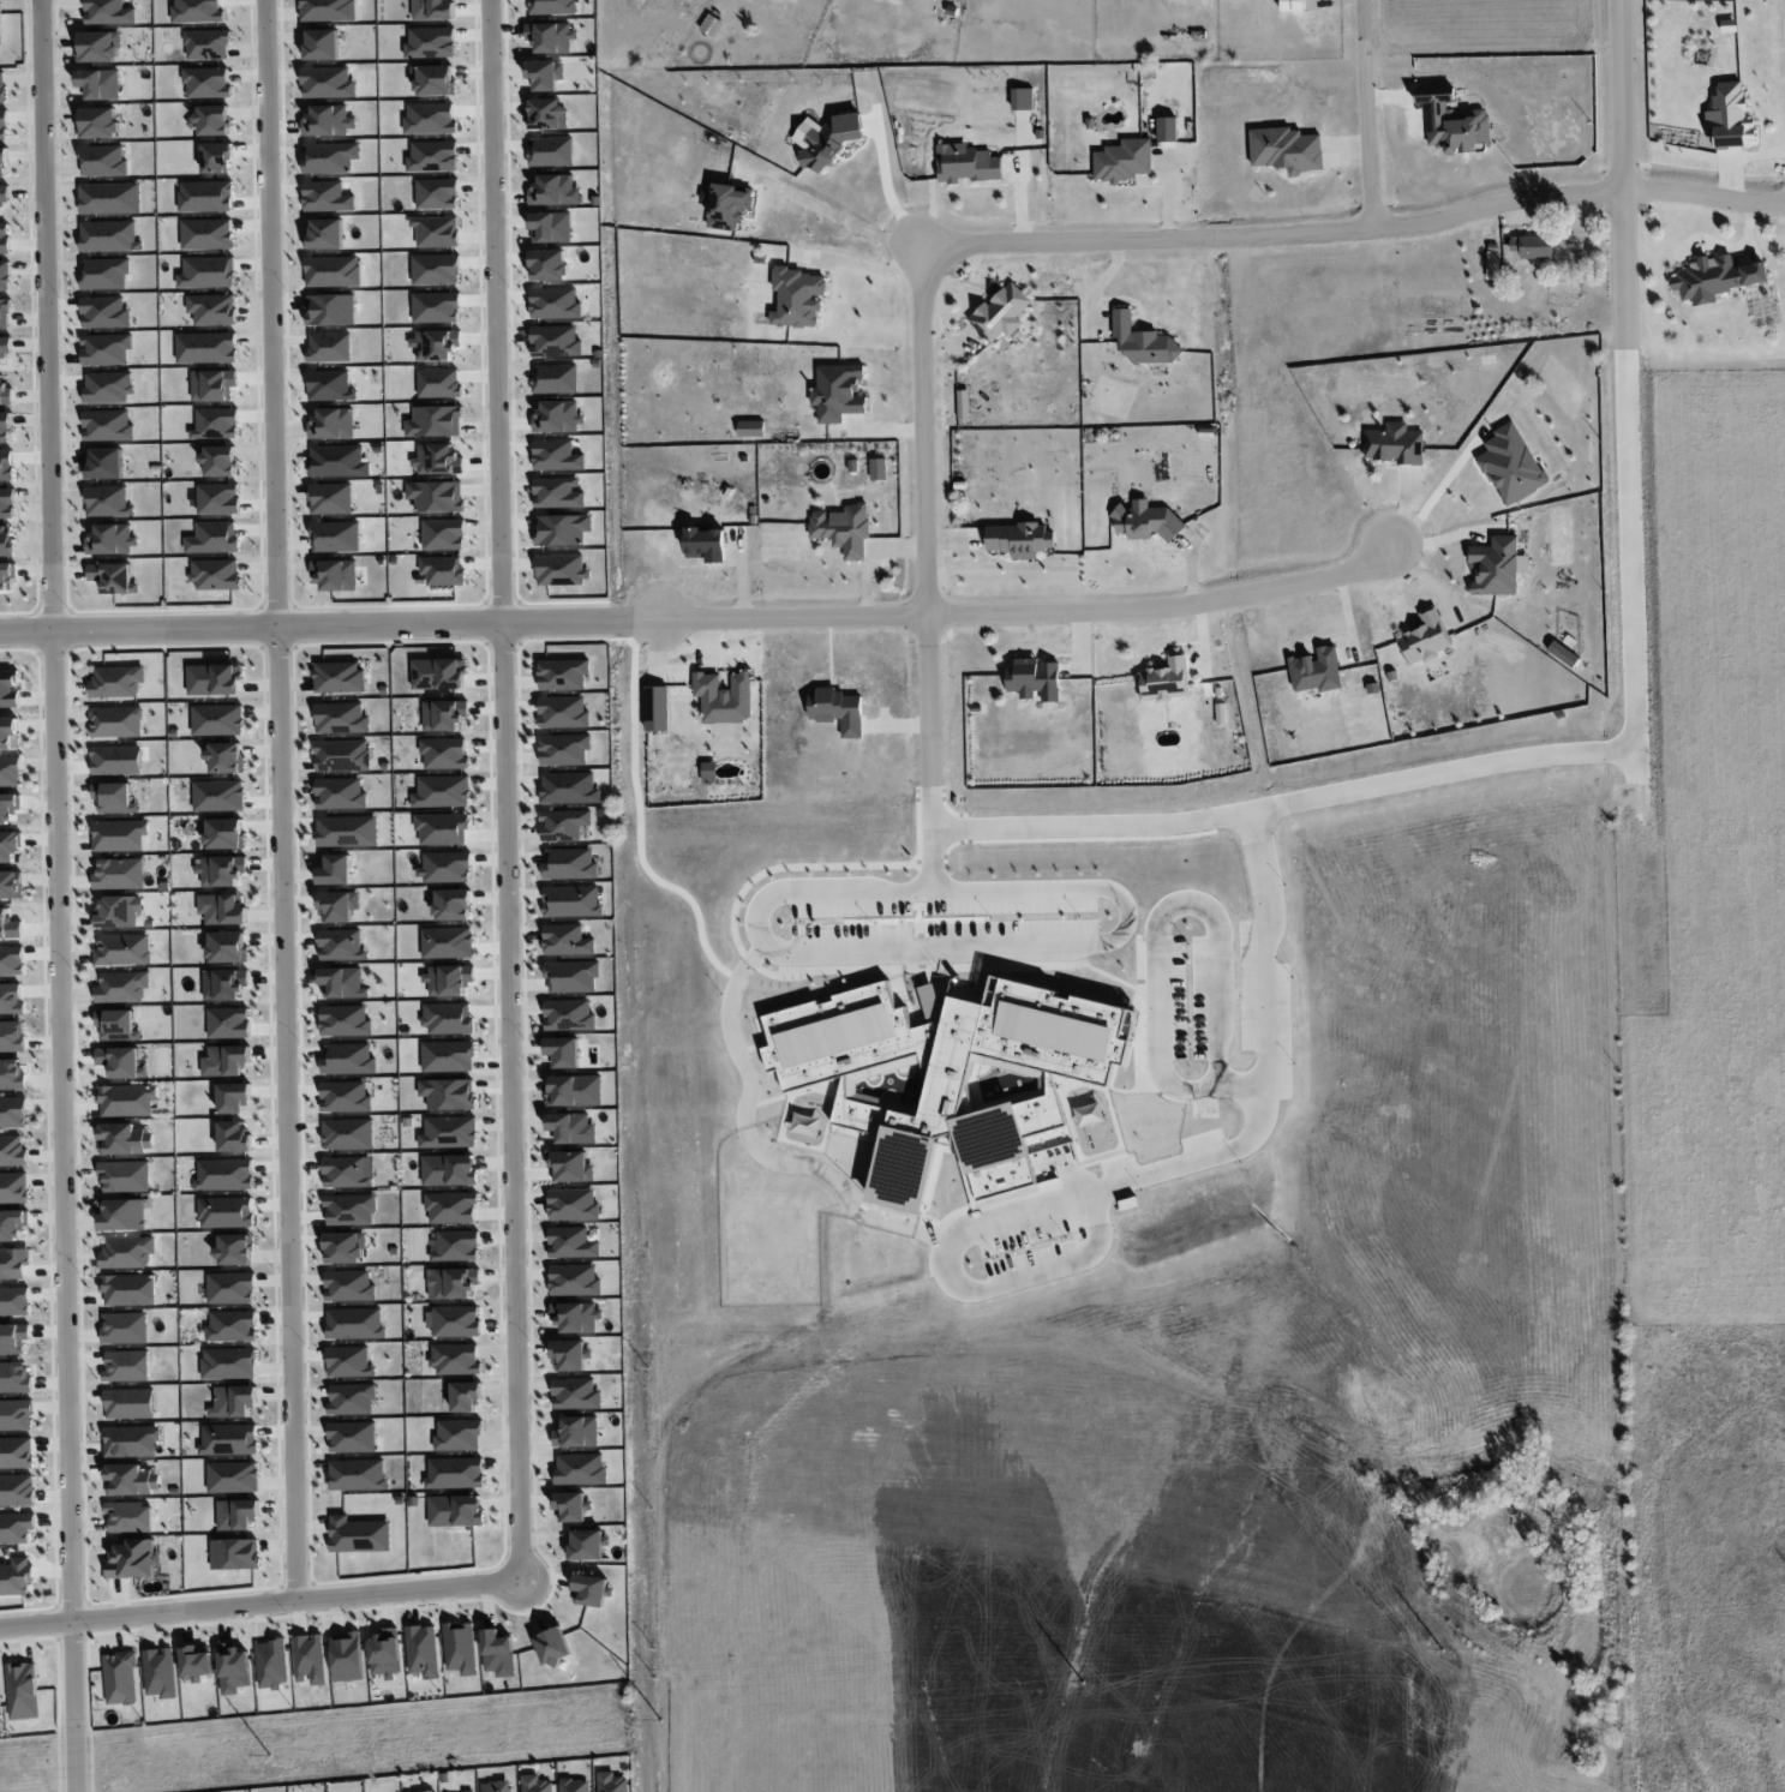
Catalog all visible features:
building: (108, 12)
building: (1727, 25)
building: (0, 26)
building: (98, 46)
building: (98, 83)
building: (2, 86)
road: (1367, 113)
building: (1730, 115)
building: (98, 122)
building: (1452, 122)
building: (4, 124)
building: (825, 138)
building: (1286, 149)
building: (1122, 160)
building: (102, 161)
building: (2, 162)
building: (965, 163)
road: (1623, 173)
road: (885, 188)
road: (1705, 192)
building: (4, 194)
building: (109, 198)
building: (729, 205)
road: (831, 212)
building: (206, 233)
road: (1275, 233)
building: (107, 235)
building: (5, 238)
road: (1703, 239)
building: (1533, 246)
building: (1491, 262)
road: (864, 265)
building: (208, 272)
building: (104, 274)
building: (5, 276)
building: (1715, 277)
building: (798, 298)
building: (212, 308)
building: (1001, 312)
building: (4, 313)
building: (1140, 341)
building: (5, 347)
building: (106, 349)
building: (838, 392)
building: (5, 394)
building: (963, 403)
building: (331, 424)
building: (107, 425)
building: (6, 427)
building: (750, 428)
building: (1395, 444)
building: (218, 461)
building: (339, 461)
building: (104, 463)
building: (1511, 465)
building: (877, 468)
building: (330, 498)
road: (1433, 498)
building: (107, 502)
building: (7, 503)
road: (924, 517)
building: (1146, 521)
building: (843, 528)
building: (1019, 539)
building: (6, 540)
building: (110, 540)
building: (705, 543)
building: (1496, 565)
building: (215, 574)
building: (335, 574)
building: (7, 577)
building: (113, 577)
road: (1168, 606)
road: (790, 617)
road: (328, 628)
building: (1425, 637)
building: (1316, 671)
building: (438, 673)
building: (563, 673)
building: (339, 677)
building: (214, 679)
building: (1035, 679)
building: (1166, 679)
building: (115, 681)
building: (8, 689)
building: (724, 697)
building: (837, 709)
building: (563, 712)
building: (443, 714)
building: (341, 718)
building: (217, 720)
building: (115, 721)
building: (8, 732)
building: (564, 749)
building: (444, 754)
building: (342, 755)
building: (226, 757)
building: (116, 760)
building: (10, 771)
road: (1464, 771)
building: (569, 787)
road: (508, 789)
building: (442, 791)
building: (340, 793)
building: (218, 796)
building: (114, 797)
road: (283, 799)
building: (8, 807)
road: (641, 819)
building: (564, 825)
building: (442, 828)
building: (348, 831)
building: (224, 833)
building: (119, 834)
building: (10, 845)
building: (570, 863)
building: (444, 867)
building: (221, 870)
building: (335, 870)
building: (119, 874)
building: (11, 885)
road: (61, 895)
building: (571, 900)
building: (453, 904)
road: (1187, 904)
building: (339, 905)
building: (222, 909)
building: (119, 911)
building: (8, 925)
building: (567, 940)
building: (447, 942)
building: (341, 945)
building: (227, 947)
road: (1061, 948)
building: (122, 949)
building: (11, 960)
building: (571, 976)
building: (448, 979)
building: (342, 982)
building: (224, 983)
building: (121, 987)
building: (11, 999)
building: (568, 1014)
building: (448, 1018)
building: (345, 1020)
building: (228, 1023)
building: (116, 1024)
building: (12, 1036)
building: (563, 1051)
building: (448, 1056)
building: (348, 1059)
building: (224, 1060)
building: (121, 1062)
building: (11, 1073)
building: (574, 1090)
building: (448, 1093)
building: (345, 1096)
building: (233, 1097)
building: (127, 1099)
building: (12, 1111)
building: (571, 1128)
building: (449, 1132)
building: (348, 1134)
building: (233, 1135)
building: (125, 1139)
building: (12, 1151)
building: (570, 1165)
building: (449, 1169)
building: (347, 1171)
building: (224, 1174)
building: (124, 1176)
building: (13, 1187)
building: (573, 1204)
building: (451, 1207)
building: (351, 1209)
building: (226, 1211)
building: (122, 1213)
building: (13, 1225)
road: (928, 1235)
building: (571, 1242)
building: (456, 1246)
building: (345, 1247)
building: (235, 1249)
building: (127, 1252)
building: (13, 1263)
building: (574, 1279)
building: (454, 1283)
building: (349, 1285)
building: (230, 1287)
building: (128, 1289)
building: (13, 1300)
building: (575, 1317)
building: (456, 1320)
building: (354, 1324)
building: (230, 1325)
building: (125, 1327)
building: (13, 1338)
building: (568, 1355)
building: (455, 1359)
building: (349, 1361)
building: (228, 1364)
building: (126, 1366)
building: (14, 1377)
building: (575, 1394)
building: (465, 1396)
building: (352, 1398)
building: (233, 1401)
building: (128, 1403)
building: (16, 1414)
building: (576, 1432)
building: (457, 1434)
building: (352, 1437)
building: (228, 1439)
building: (131, 1440)
building: (16, 1452)
building: (580, 1468)
building: (454, 1473)
building: (358, 1474)
building: (232, 1476)
building: (131, 1480)
building: (17, 1490)
building: (571, 1506)
building: (455, 1510)
building: (236, 1514)
building: (130, 1517)
building: (16, 1527)
building: (359, 1534)
building: (586, 1545)
building: (234, 1553)
building: (134, 1559)
building: (16, 1576)
building: (591, 1589)
road: (263, 1602)
building: (552, 1646)
building: (460, 1647)
building: (423, 1650)
power tower: (1443, 1650)
building: (385, 1653)
building: (498, 1653)
building: (347, 1656)
building: (310, 1658)
building: (196, 1660)
building: (271, 1664)
building: (233, 1668)
building: (158, 1672)
building: (119, 1678)
power tower: (1085, 1683)
building: (23, 1690)
building: (0, 1713)
power tower: (661, 1721)
power tower: (274, 1756)
building: (611, 1782)
building: (534, 1784)
building: (574, 1785)
building: (495, 1786)
building: (467, 1791)

